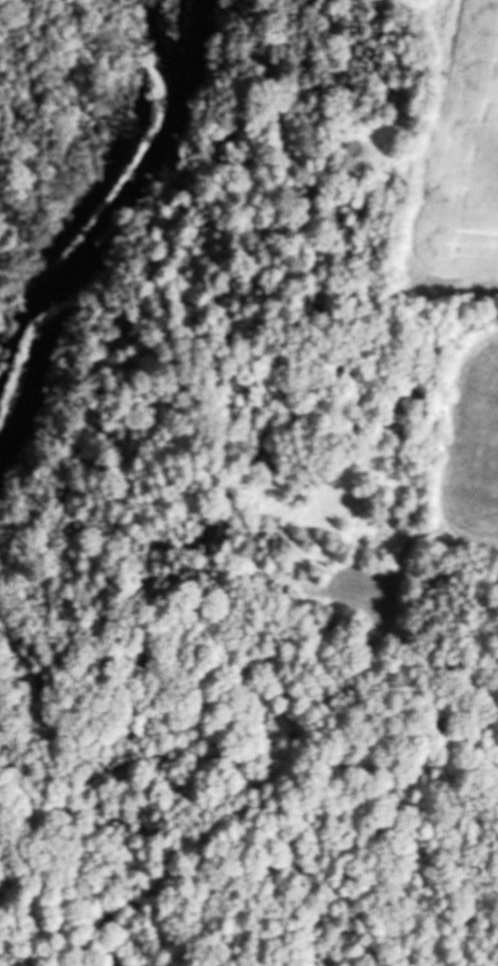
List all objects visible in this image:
river: (134, 195)

